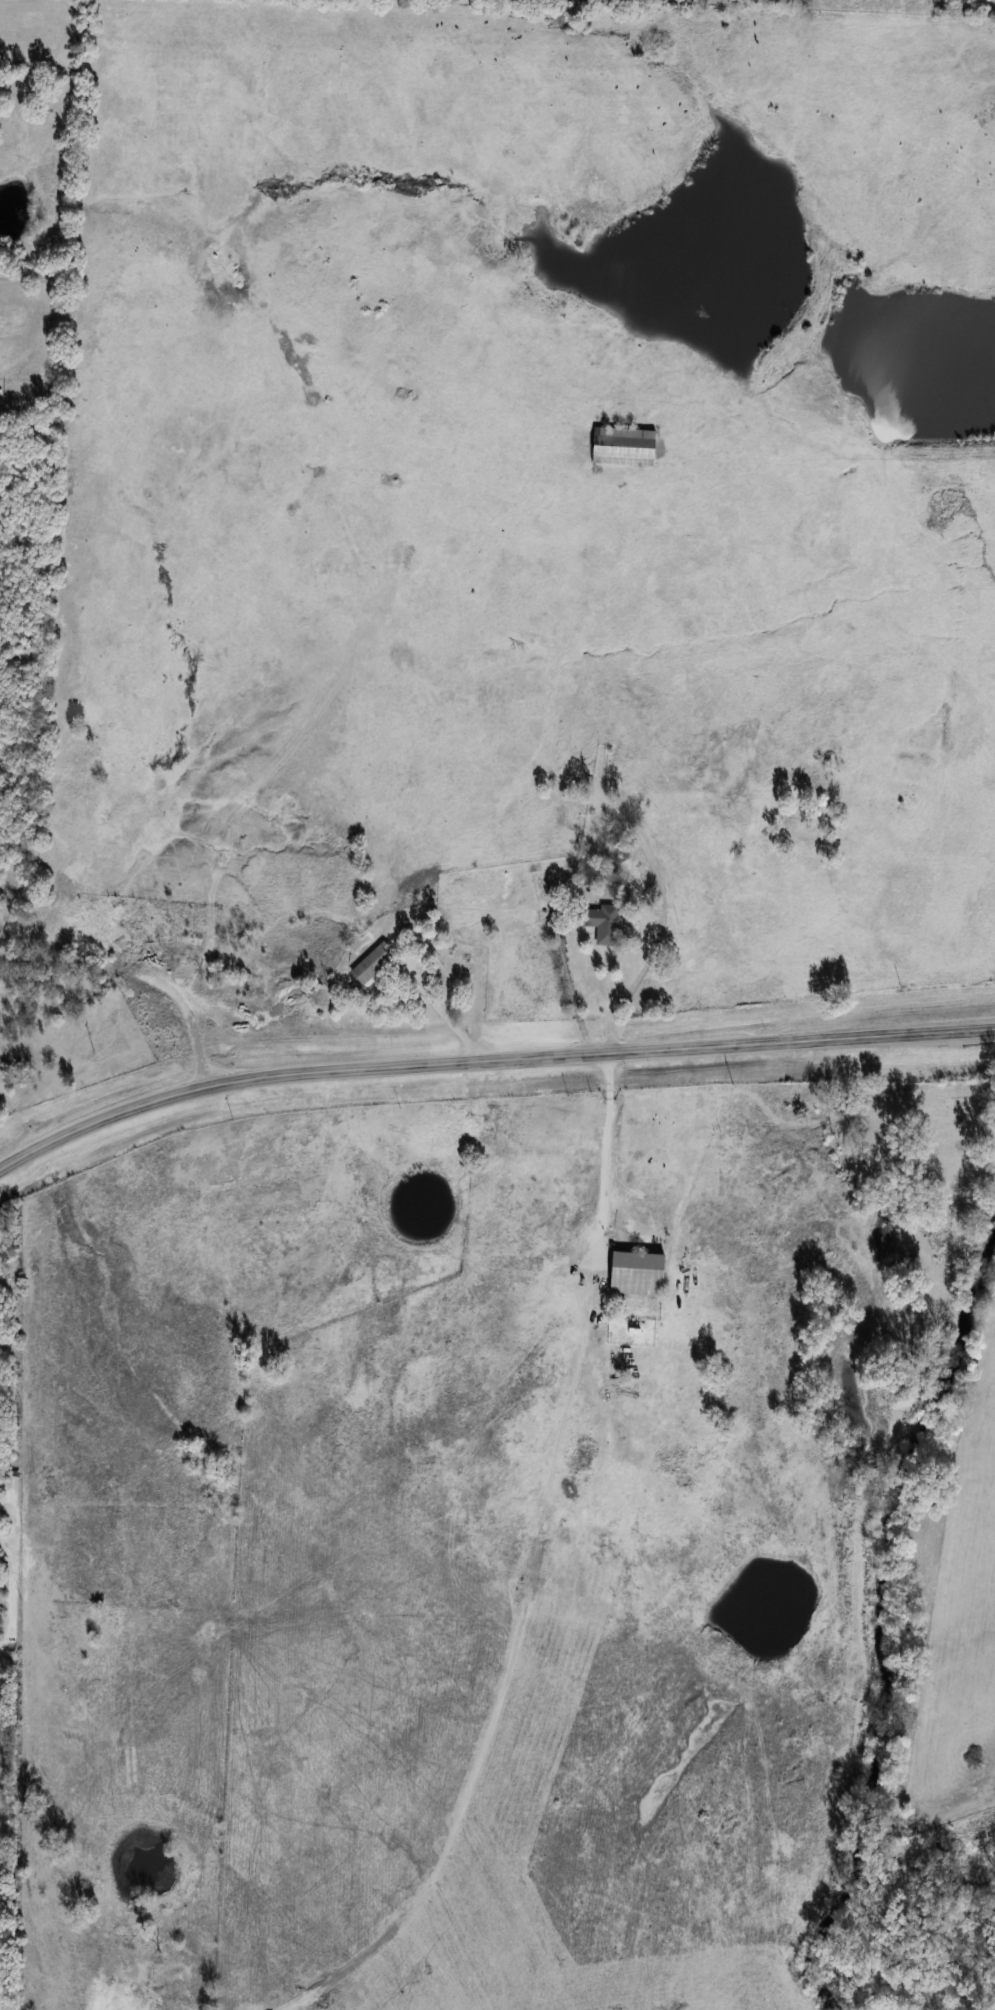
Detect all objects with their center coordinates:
building: (622, 447)
building: (639, 764)
building: (598, 922)
road: (660, 925)
building: (370, 964)
road: (568, 985)
road: (488, 1060)
road: (606, 1154)
building: (634, 1273)

